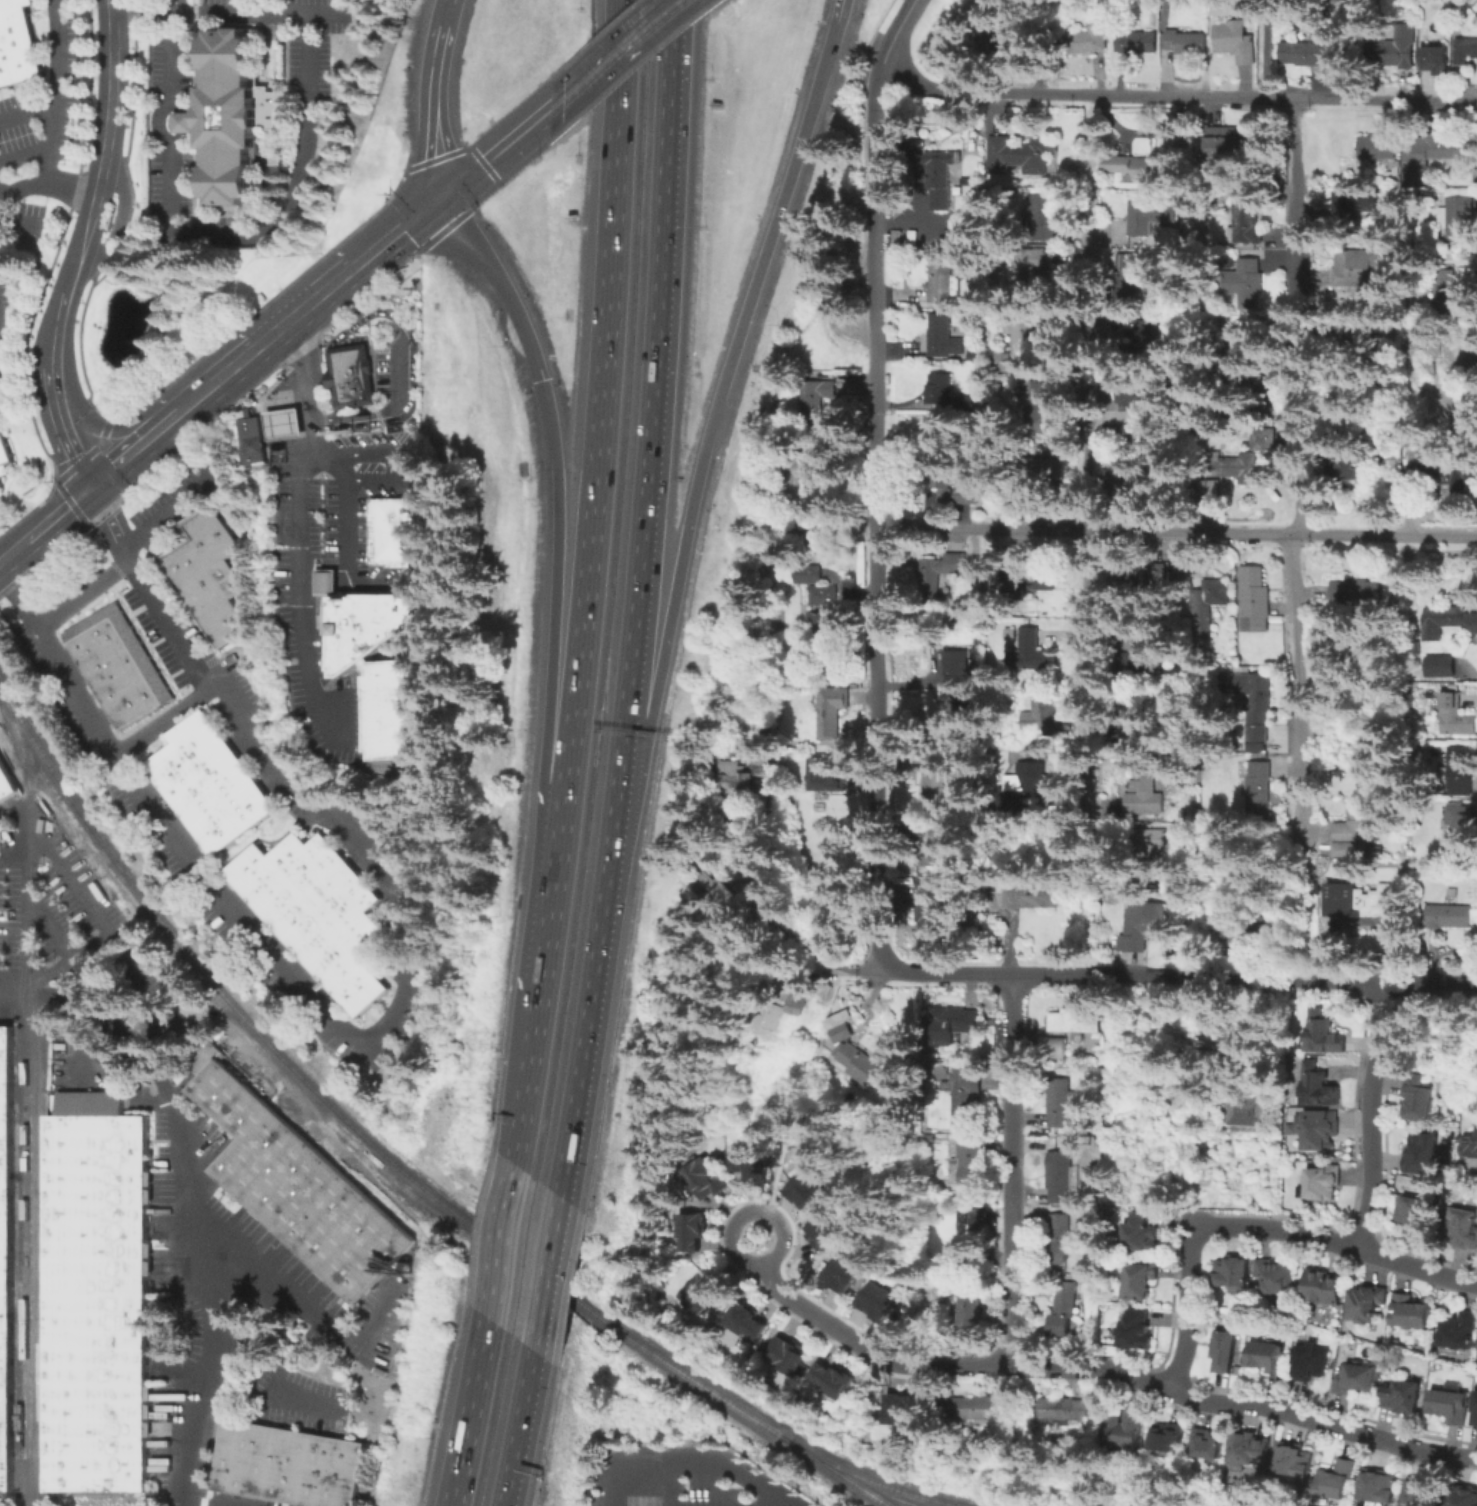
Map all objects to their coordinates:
building: (1336, 1)
road: (176, 6)
road: (445, 10)
road: (228, 13)
road: (837, 14)
road: (651, 23)
road: (898, 29)
building: (1090, 40)
building: (1007, 41)
building: (1188, 42)
building: (1238, 42)
road: (831, 43)
building: (1140, 44)
building: (18, 45)
road: (1269, 49)
road: (617, 52)
building: (1466, 52)
building: (1394, 54)
building: (1315, 56)
road: (174, 57)
building: (1435, 61)
road: (579, 84)
road: (1177, 96)
road: (180, 106)
road: (431, 109)
road: (28, 112)
road: (56, 116)
building: (234, 118)
building: (937, 120)
road: (161, 123)
parking lot: (164, 123)
road: (187, 123)
road: (180, 139)
building: (1232, 142)
building: (1379, 148)
building: (1431, 154)
road: (493, 155)
building: (1020, 158)
building: (1143, 167)
building: (941, 180)
road: (22, 188)
road: (1, 197)
traffic signals: (439, 197)
building: (1357, 205)
road: (95, 207)
road: (118, 215)
road: (285, 215)
building: (1153, 216)
building: (1044, 218)
building: (1460, 218)
building: (1249, 219)
road: (20, 223)
road: (397, 231)
building: (897, 242)
road: (1296, 244)
building: (1130, 269)
building: (1361, 269)
building: (1036, 271)
building: (944, 282)
building: (1248, 284)
building: (1454, 295)
road: (364, 320)
building: (972, 322)
road: (266, 337)
building: (1148, 338)
building: (945, 339)
building: (1356, 340)
building: (1020, 351)
building: (976, 357)
building: (1238, 364)
road: (308, 372)
building: (352, 376)
parking lot: (400, 376)
road: (335, 378)
building: (939, 388)
building: (816, 402)
building: (1139, 402)
building: (966, 404)
building: (1038, 407)
road: (399, 409)
road: (272, 413)
road: (341, 416)
road: (652, 417)
road: (294, 421)
building: (284, 423)
gas station: (284, 423)
road: (120, 428)
road: (286, 434)
building: (1415, 436)
building: (252, 441)
road: (705, 441)
road: (77, 448)
road: (135, 449)
building: (3, 454)
building: (1249, 458)
road: (1297, 460)
building: (1353, 468)
building: (1045, 471)
road: (339, 474)
building: (1449, 475)
building: (0, 482)
building: (793, 482)
building: (944, 484)
building: (0, 486)
building: (1128, 486)
traffic signals: (92, 487)
road: (190, 491)
road: (875, 511)
road: (58, 513)
road: (1085, 515)
traffic signals: (561, 522)
road: (109, 525)
road: (1176, 528)
building: (396, 533)
road: (12, 551)
building: (800, 573)
building: (209, 576)
building: (939, 578)
building: (1033, 579)
building: (1155, 581)
road: (309, 582)
road: (328, 583)
road: (590, 583)
road: (345, 584)
road: (300, 588)
building: (1356, 592)
building: (1256, 593)
road: (83, 596)
building: (1211, 602)
parking lot: (300, 603)
building: (824, 611)
building: (1448, 623)
building: (1015, 637)
road: (555, 647)
building: (1034, 655)
building: (1145, 661)
building: (378, 665)
building: (120, 666)
building: (1443, 668)
building: (959, 687)
road: (1295, 691)
building: (1257, 704)
building: (832, 713)
building: (1044, 715)
building: (1458, 716)
building: (1138, 719)
road: (166, 722)
building: (768, 757)
building: (1463, 773)
building: (828, 778)
building: (938, 778)
building: (742, 782)
building: (7, 784)
building: (212, 786)
building: (1258, 787)
building: (1029, 788)
building: (1147, 798)
building: (1462, 819)
building: (1355, 835)
building: (935, 844)
building: (1151, 845)
road: (70, 876)
building: (722, 896)
building: (1032, 898)
building: (1363, 902)
building: (930, 906)
building: (320, 914)
road: (1296, 914)
building: (1450, 918)
building: (1235, 921)
building: (1149, 925)
road: (822, 944)
railway: (184, 951)
road: (863, 972)
road: (1100, 973)
road: (1395, 981)
road: (149, 995)
building: (800, 997)
road: (589, 1016)
building: (779, 1020)
building: (1076, 1023)
building: (954, 1024)
building: (1321, 1036)
road: (357, 1039)
building: (1056, 1048)
road: (85, 1049)
building: (851, 1052)
road: (191, 1079)
building: (1318, 1088)
building: (967, 1094)
railway: (29, 1097)
building: (1421, 1100)
building: (1062, 1103)
building: (1249, 1110)
road: (1371, 1114)
building: (1292, 1128)
building: (1320, 1133)
building: (1470, 1147)
building: (1424, 1154)
building: (749, 1162)
building: (970, 1162)
road: (29, 1163)
road: (1014, 1169)
building: (1062, 1174)
building: (706, 1178)
building: (1323, 1185)
building: (804, 1188)
building: (302, 1189)
road: (193, 1193)
railway: (17, 1196)
building: (1416, 1216)
building: (822, 1230)
building: (692, 1231)
building: (1463, 1231)
building: (1142, 1232)
building: (969, 1234)
railway: (39, 1235)
road: (1334, 1240)
road: (500, 1241)
building: (1055, 1241)
road: (729, 1248)
building: (6, 1255)
railway: (530, 1270)
building: (841, 1272)
building: (1234, 1272)
road: (547, 1275)
building: (1277, 1277)
building: (1143, 1283)
building: (1325, 1290)
building: (704, 1292)
building: (98, 1297)
building: (875, 1301)
road: (306, 1302)
building: (1368, 1304)
building: (1066, 1307)
road: (1190, 1311)
building: (971, 1314)
building: (1412, 1314)
road: (823, 1319)
building: (749, 1322)
building: (1140, 1331)
building: (1460, 1331)
road: (155, 1334)
building: (1227, 1352)
building: (788, 1354)
building: (1271, 1358)
building: (1313, 1363)
road: (256, 1364)
road: (999, 1366)
building: (835, 1377)
building: (1359, 1380)
road: (270, 1396)
building: (1406, 1396)
building: (1451, 1406)
railway: (737, 1407)
road: (1291, 1407)
building: (899, 1408)
building: (978, 1408)
building: (1068, 1409)
road: (468, 1412)
building: (1475, 1416)
road: (518, 1429)
building: (1131, 1431)
building: (1175, 1439)
building: (1216, 1445)
building: (1257, 1448)
road: (689, 1460)
building: (1301, 1462)
building: (289, 1466)
building: (1342, 1479)
road: (668, 1483)
railway: (854, 1483)
railway: (32, 1484)
railway: (891, 1487)
building: (1385, 1488)
building: (1426, 1493)
building: (1465, 1498)

